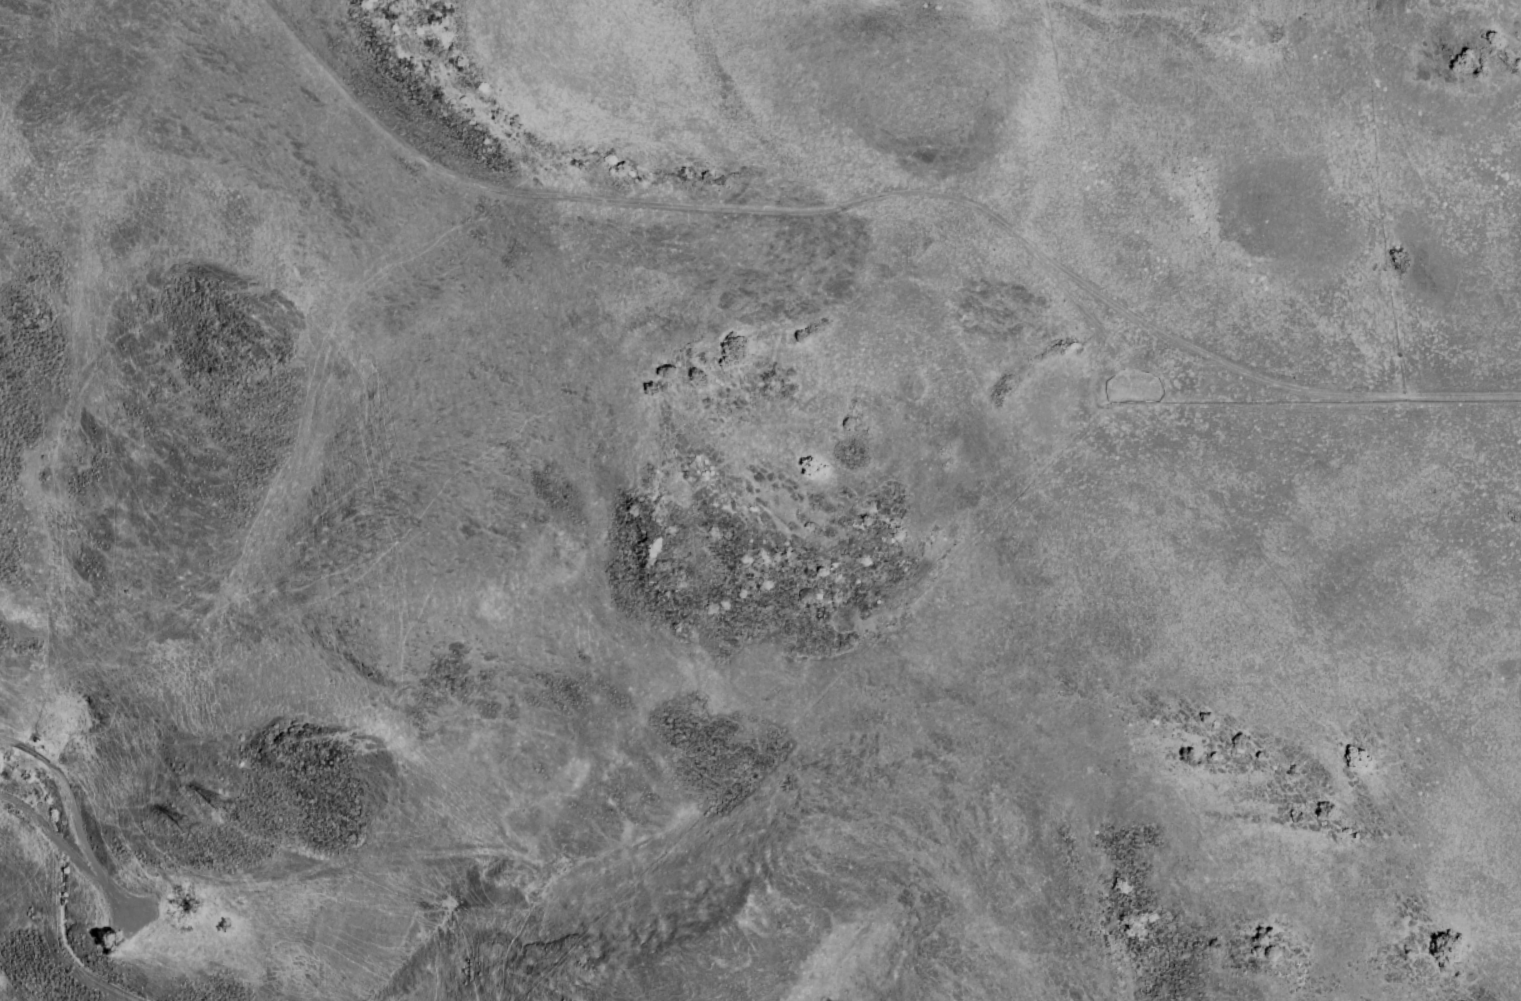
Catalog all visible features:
power tower: (216, 806)
power tower: (185, 826)
road: (98, 870)

